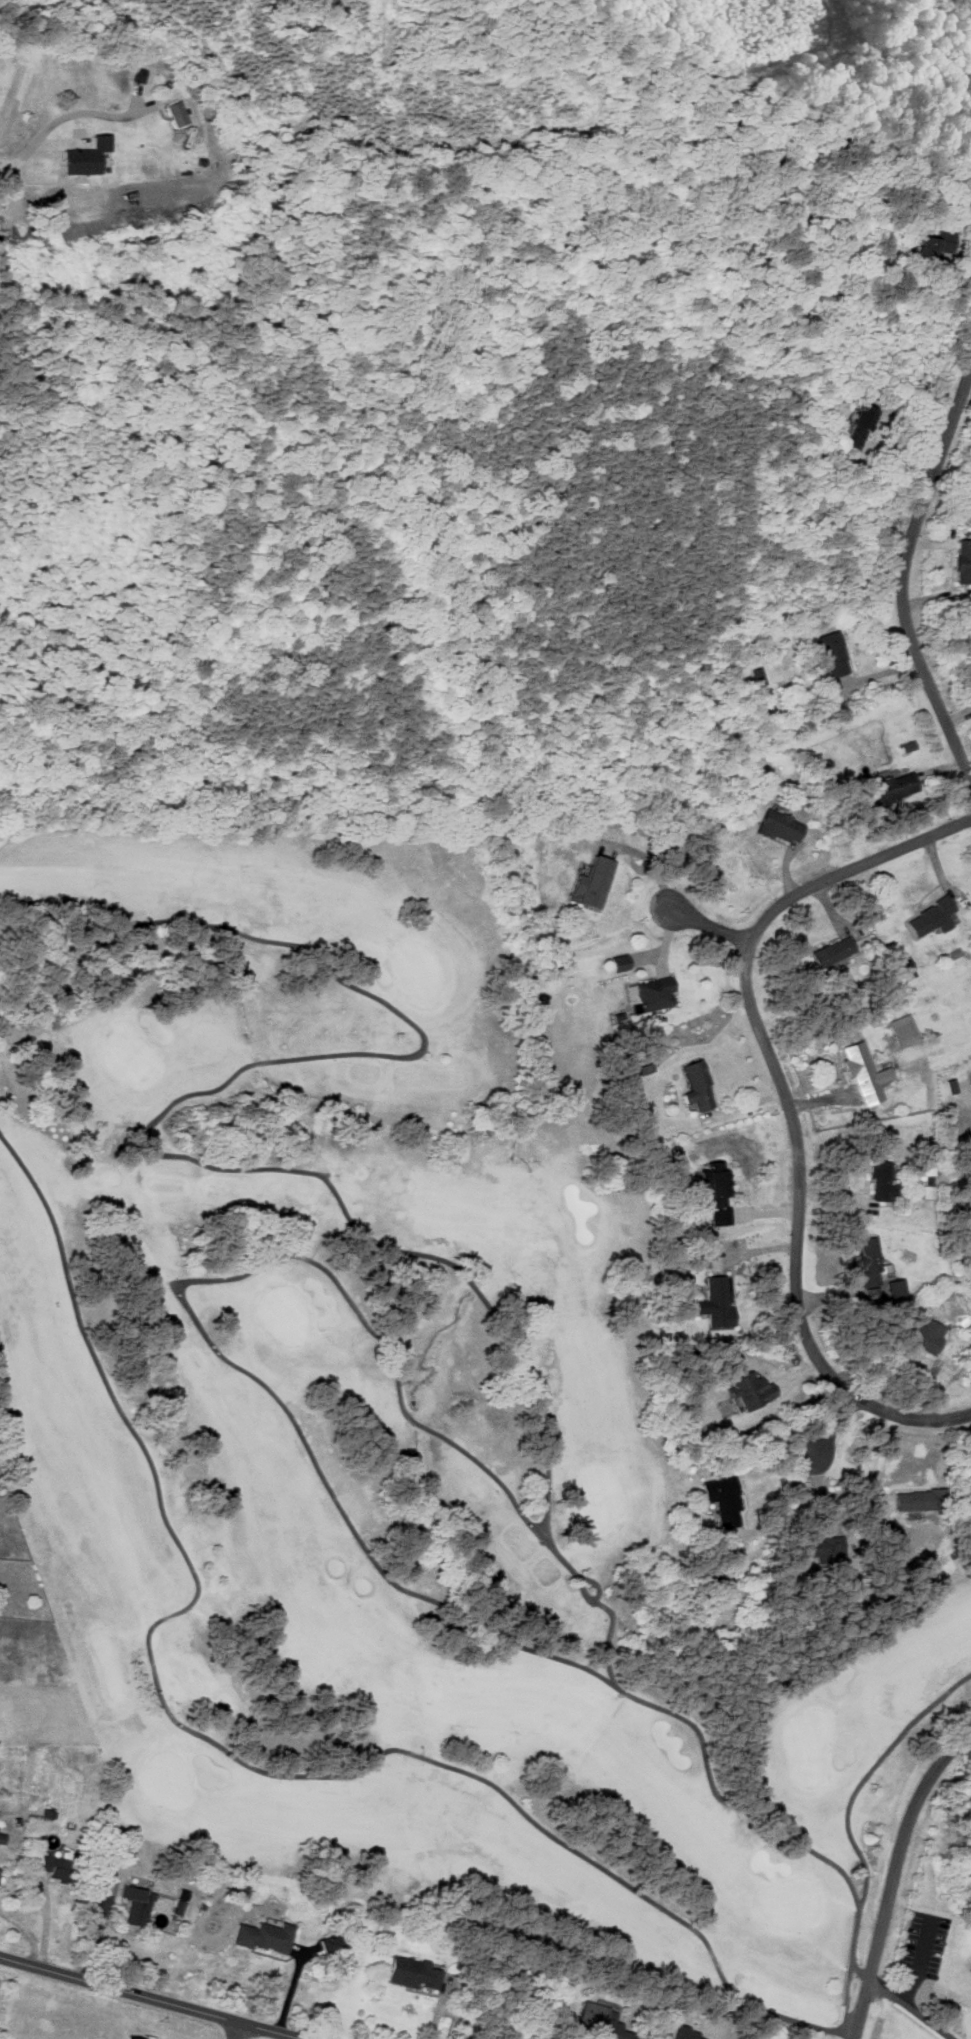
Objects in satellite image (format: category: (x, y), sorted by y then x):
road: (0, 0)
road: (95, 114)
road: (25, 155)
building: (86, 156)
building: (858, 426)
building: (964, 561)
road: (896, 572)
building: (833, 654)
building: (759, 677)
building: (895, 789)
building: (781, 827)
building: (596, 882)
building: (933, 918)
road: (707, 925)
building: (835, 952)
building: (907, 970)
building: (657, 995)
building: (905, 1031)
building: (866, 1074)
building: (699, 1087)
road: (783, 1108)
building: (883, 1179)
building: (722, 1187)
building: (728, 1244)
building: (871, 1261)
building: (898, 1288)
building: (874, 1292)
building: (716, 1303)
building: (929, 1334)
building: (752, 1390)
park: (399, 1422)
road: (830, 1428)
building: (724, 1500)
building: (923, 1500)
building: (830, 1545)
building: (1, 1839)
building: (58, 1869)
road: (890, 1870)
building: (135, 1905)
building: (260, 1936)
building: (333, 1944)
building: (413, 1973)
road: (145, 1999)
road: (909, 2008)
building: (603, 2022)
road: (237, 2032)
building: (131, 2038)

